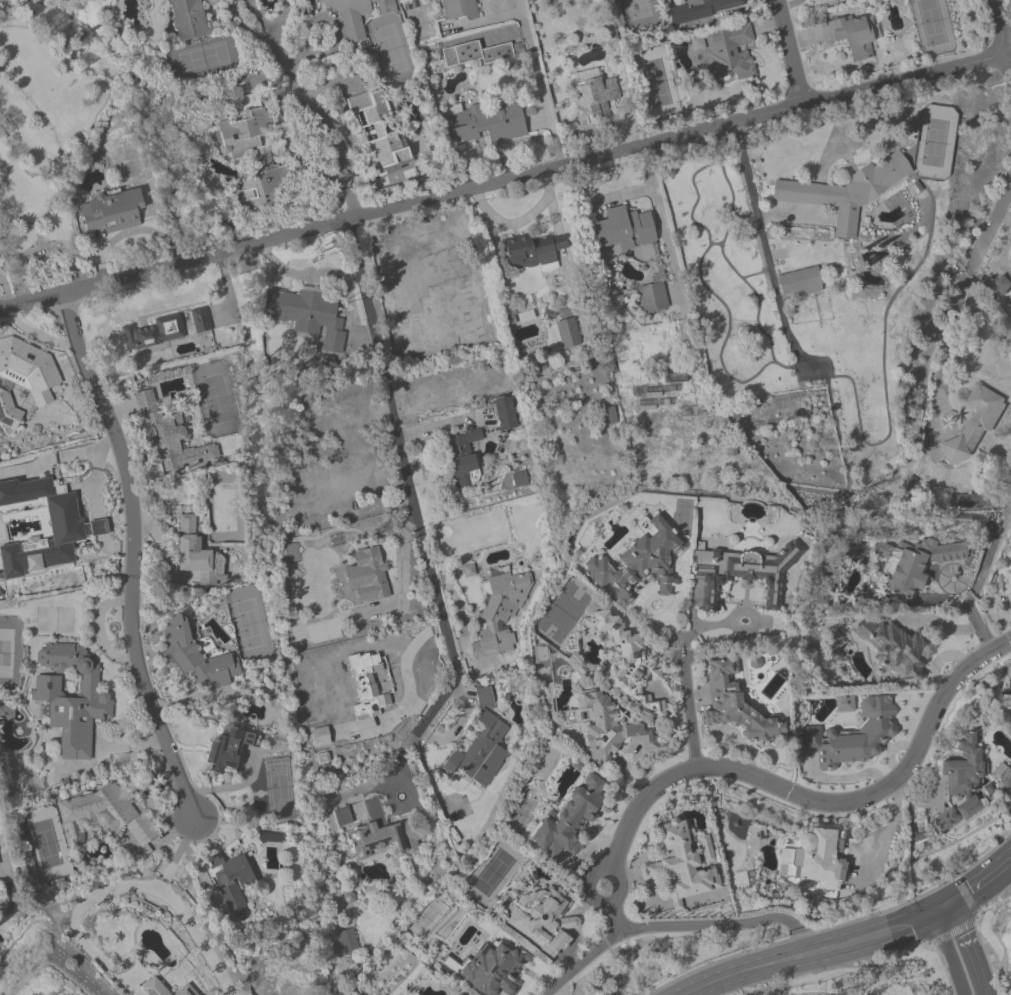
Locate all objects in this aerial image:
building: (827, 2)
building: (460, 9)
building: (702, 10)
building: (357, 14)
building: (190, 20)
road: (1005, 23)
road: (1001, 26)
building: (853, 36)
road: (791, 51)
building: (476, 53)
building: (730, 56)
road: (1009, 61)
building: (593, 96)
road: (310, 111)
building: (496, 121)
building: (381, 133)
building: (105, 138)
building: (255, 152)
road: (503, 180)
building: (846, 192)
building: (111, 213)
road: (756, 216)
road: (519, 221)
building: (622, 230)
building: (533, 252)
building: (428, 275)
road: (962, 280)
building: (800, 281)
building: (1005, 283)
building: (304, 311)
building: (200, 320)
building: (155, 332)
building: (568, 333)
building: (29, 369)
building: (9, 411)
building: (506, 415)
building: (974, 424)
road: (442, 427)
building: (170, 437)
building: (463, 457)
road: (411, 493)
building: (67, 527)
building: (193, 552)
road: (134, 556)
building: (640, 562)
building: (374, 571)
building: (901, 572)
building: (744, 573)
building: (1010, 577)
building: (500, 612)
road: (976, 624)
building: (900, 649)
building: (197, 658)
building: (623, 658)
building: (368, 684)
building: (72, 699)
building: (1010, 700)
road: (692, 706)
building: (737, 706)
building: (5, 713)
building: (609, 729)
building: (854, 736)
building: (228, 748)
building: (482, 748)
building: (964, 769)
road: (787, 789)
building: (106, 816)
building: (571, 819)
building: (948, 819)
building: (387, 834)
road: (888, 836)
building: (820, 860)
building: (680, 864)
building: (232, 880)
road: (985, 883)
traffic signals: (958, 904)
road: (176, 910)
traffic signals: (931, 916)
building: (540, 920)
road: (658, 926)
road: (800, 940)
building: (0, 946)
road: (972, 949)
road: (821, 950)
road: (948, 955)
building: (494, 970)
building: (154, 987)
building: (184, 991)
building: (458, 994)

